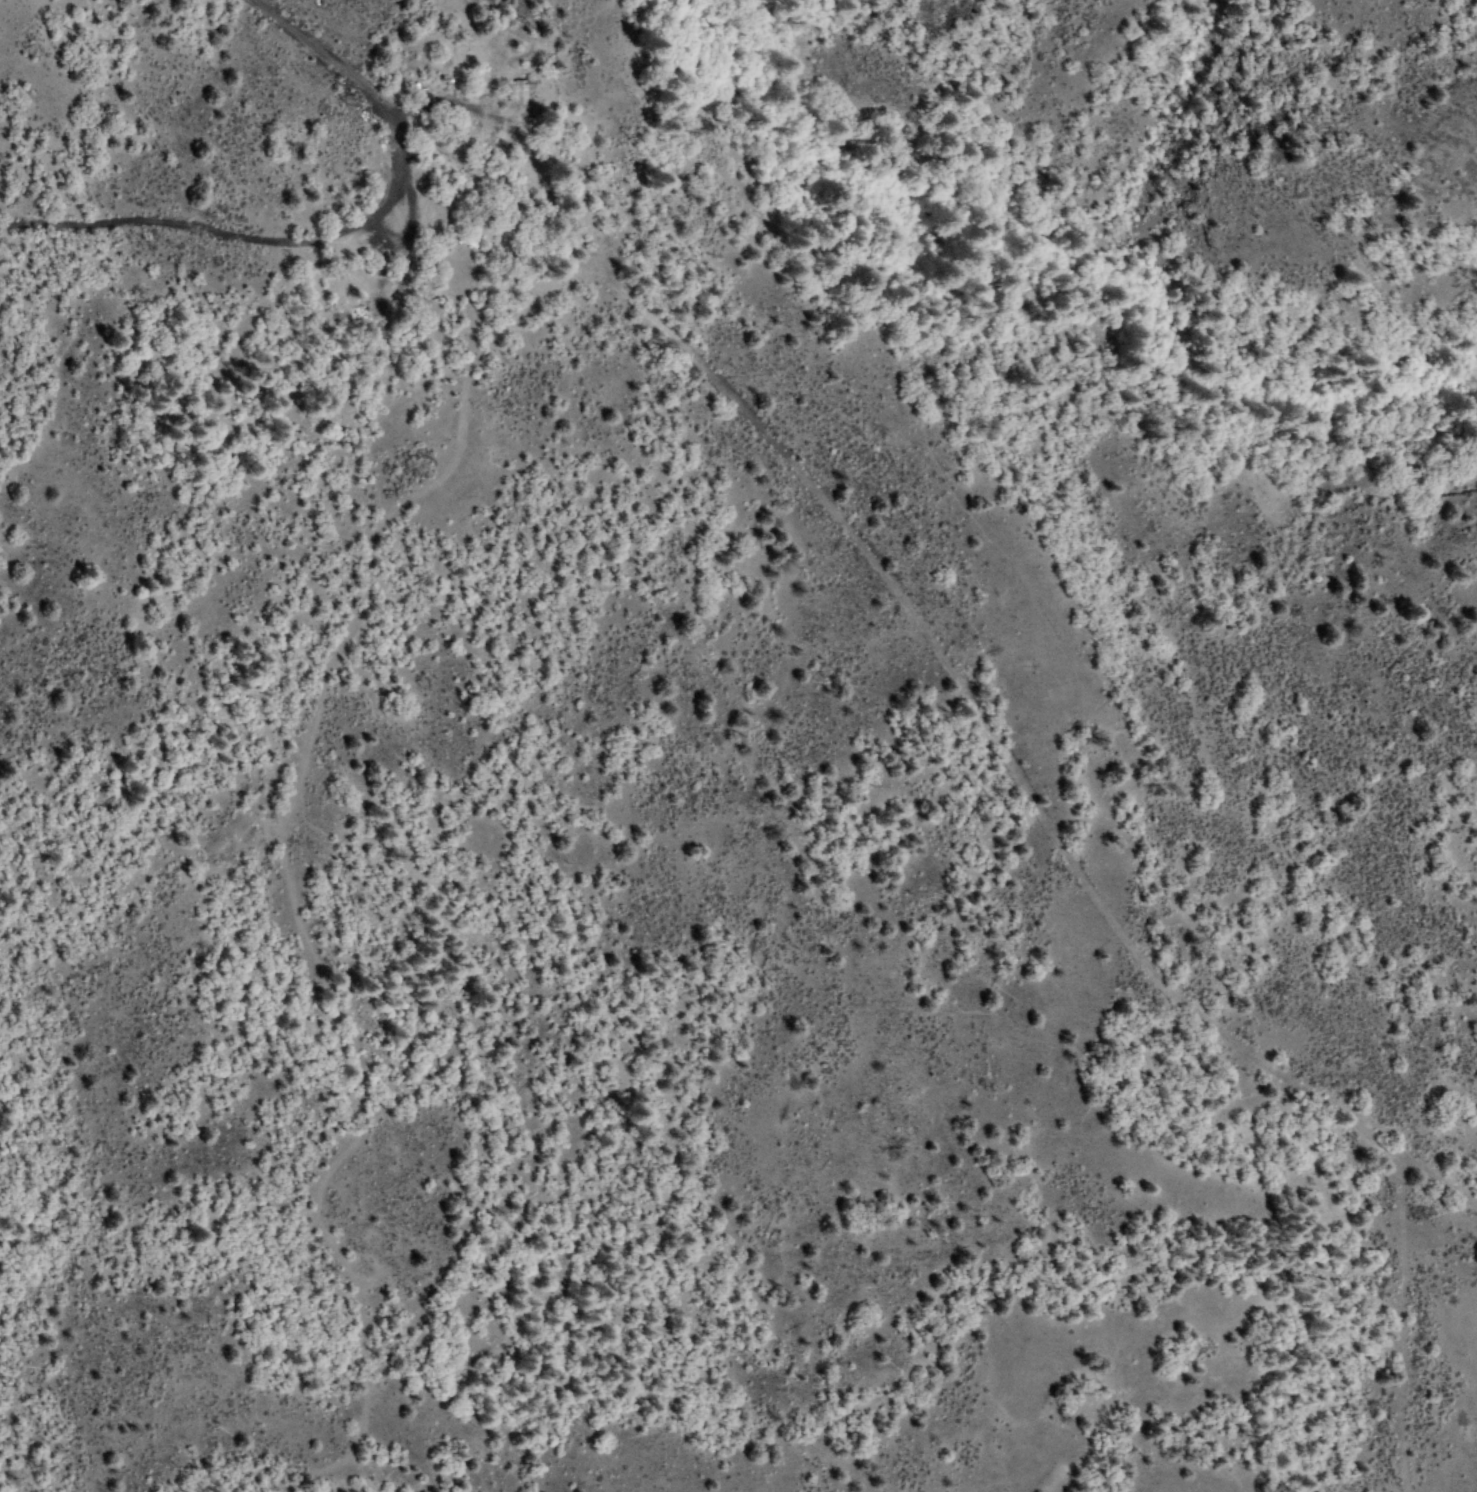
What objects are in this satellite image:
building: (520, 90)
road: (774, 452)
road: (287, 825)

